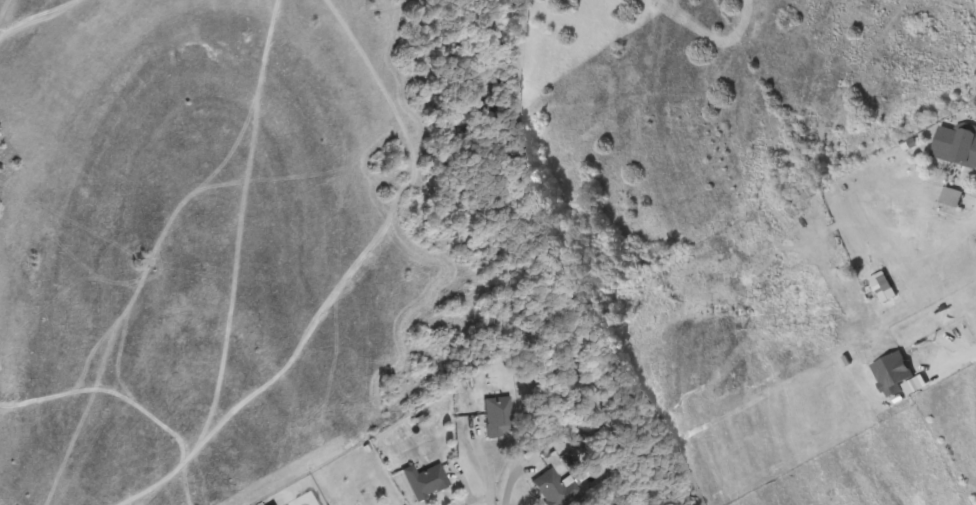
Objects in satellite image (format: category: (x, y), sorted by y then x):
building: (955, 145)
building: (952, 195)
building: (883, 286)
building: (894, 372)
building: (499, 415)
road: (495, 468)
building: (427, 479)
building: (557, 487)

